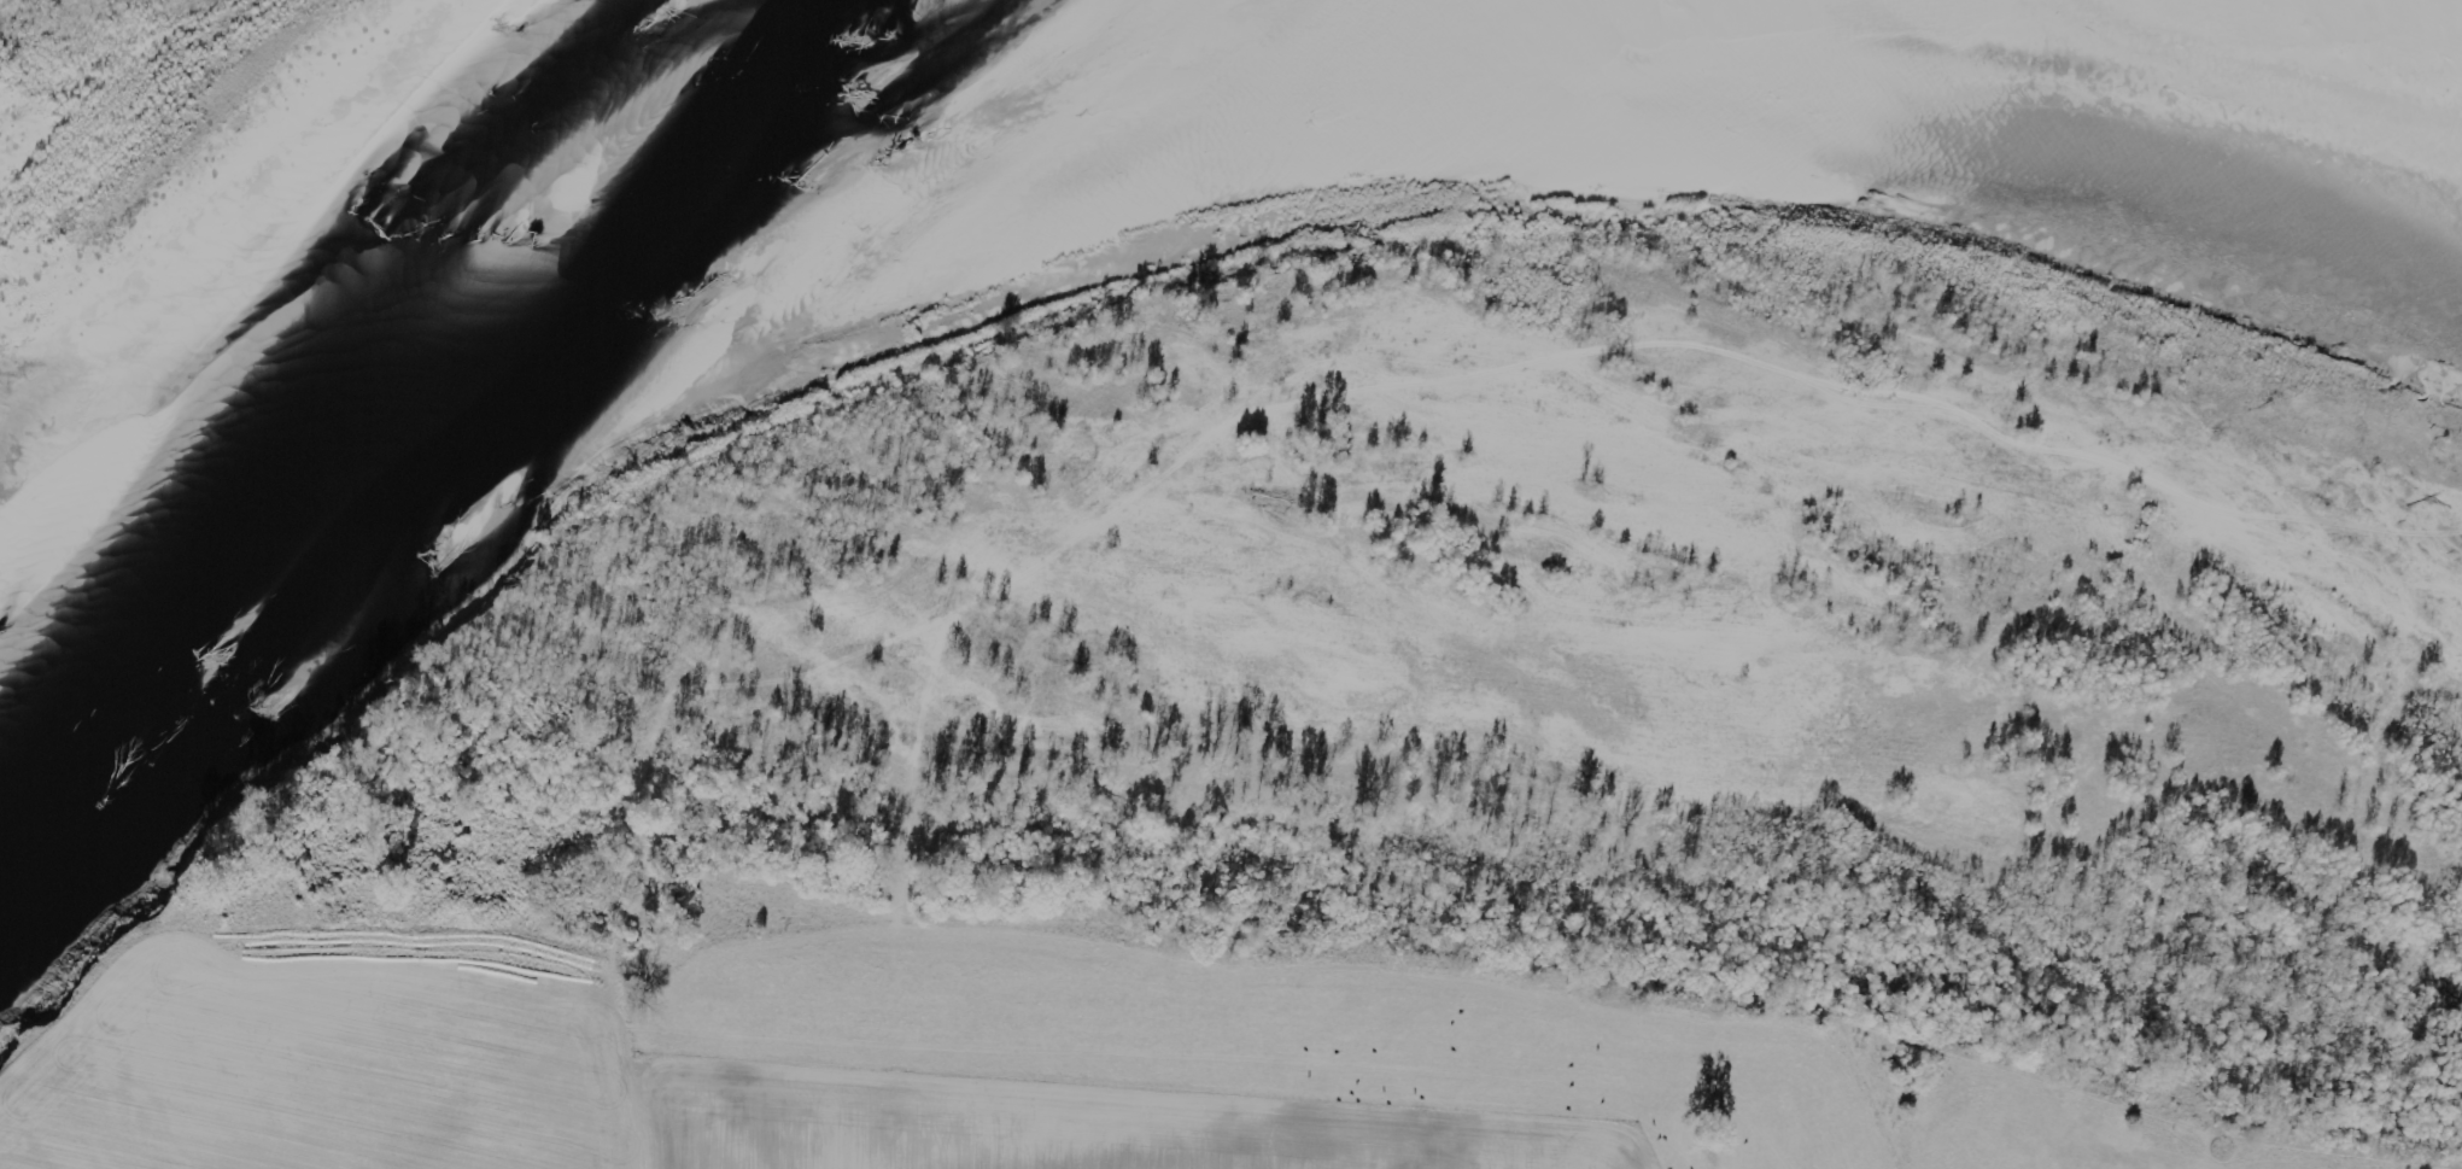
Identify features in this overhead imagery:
river: (2234, 182)

